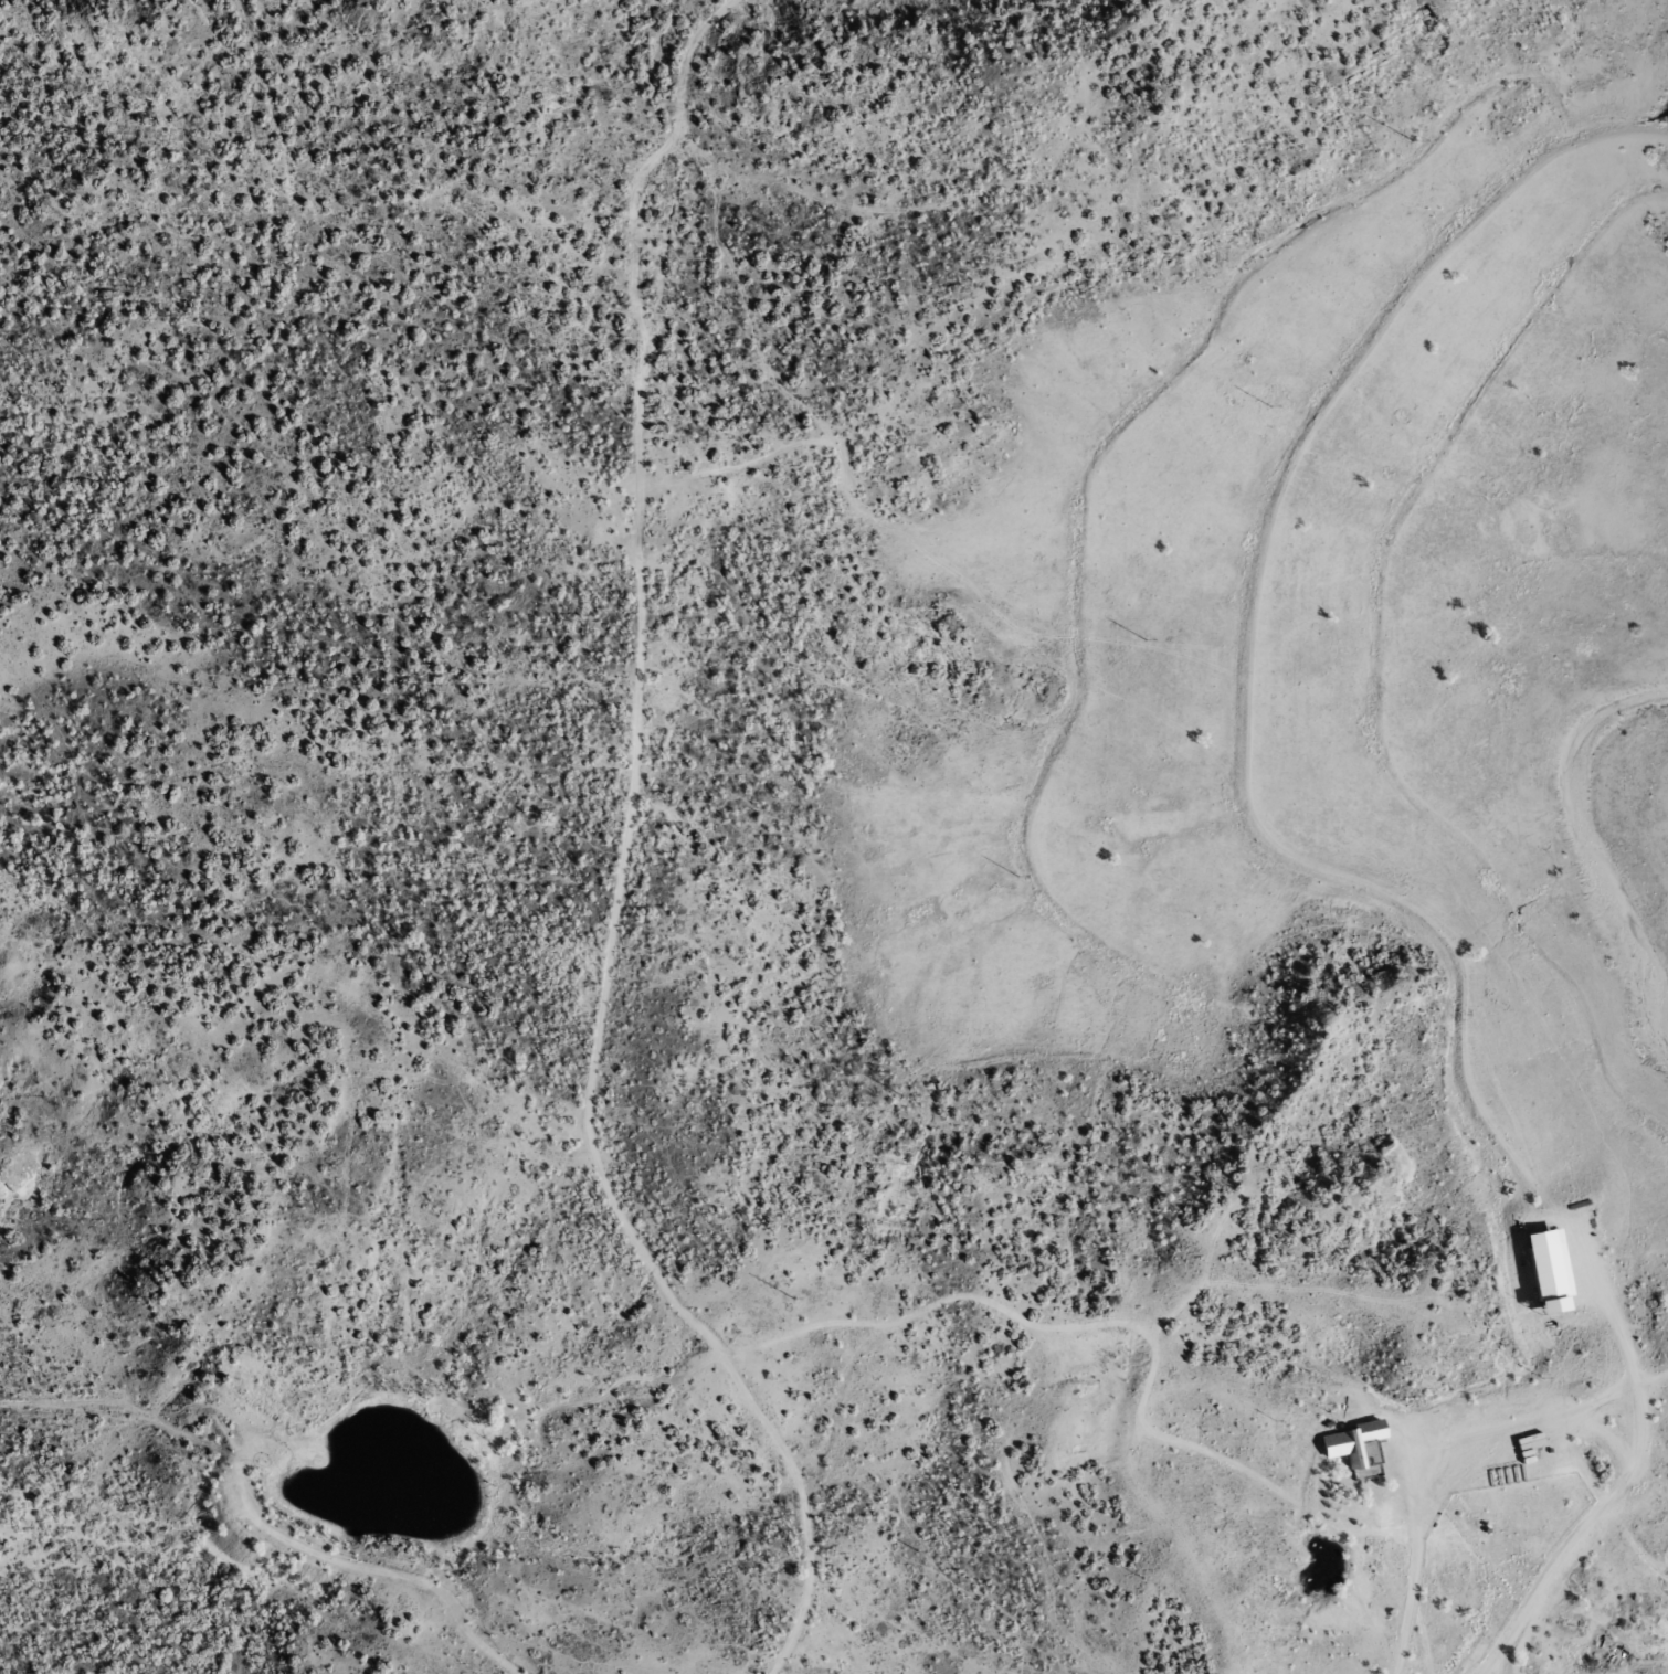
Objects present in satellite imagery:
building: (1362, 1440)
road: (1640, 1466)
road: (1417, 1550)

